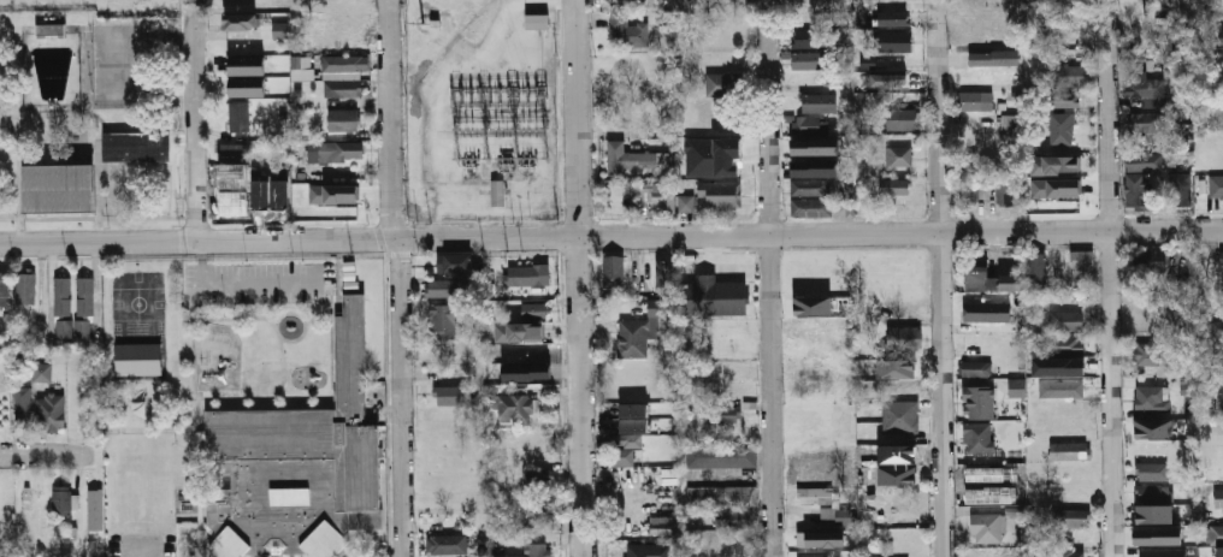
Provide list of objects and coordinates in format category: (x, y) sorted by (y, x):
road: (757, 4)
building: (892, 17)
building: (241, 20)
building: (538, 23)
building: (51, 29)
building: (628, 30)
building: (1221, 35)
building: (805, 38)
building: (893, 41)
building: (980, 59)
building: (805, 60)
building: (246, 65)
building: (1070, 75)
building: (343, 77)
building: (898, 81)
building: (725, 84)
building: (1142, 85)
building: (246, 87)
building: (1064, 99)
building: (974, 100)
building: (817, 102)
power substation: (479, 108)
building: (238, 117)
building: (899, 119)
road: (196, 120)
building: (343, 120)
building: (804, 122)
building: (1146, 125)
building: (1060, 129)
building: (136, 144)
building: (728, 146)
building: (814, 146)
building: (333, 150)
building: (234, 152)
building: (897, 155)
building: (631, 158)
building: (1142, 160)
building: (1053, 165)
building: (814, 167)
building: (893, 185)
building: (809, 186)
building: (1216, 186)
building: (60, 188)
building: (1054, 188)
building: (1180, 189)
building: (969, 190)
building: (1138, 190)
building: (1008, 191)
building: (333, 194)
building: (644, 194)
building: (720, 194)
building: (662, 196)
building: (685, 203)
road: (610, 238)
building: (1221, 257)
building: (1148, 260)
building: (453, 262)
building: (1080, 266)
building: (1035, 267)
building: (613, 271)
building: (526, 274)
building: (664, 274)
road: (400, 277)
road: (581, 278)
road: (943, 278)
building: (977, 278)
road: (1113, 278)
parking lot: (259, 282)
road: (772, 282)
building: (1010, 282)
road: (238, 283)
road: (95, 285)
building: (4, 286)
building: (25, 288)
road: (49, 288)
building: (444, 288)
building: (61, 296)
building: (84, 296)
building: (713, 296)
park: (138, 302)
building: (811, 306)
building: (986, 312)
building: (1065, 320)
building: (443, 321)
building: (522, 325)
building: (72, 327)
building: (1216, 327)
building: (639, 330)
building: (903, 337)
building: (1064, 344)
building: (1145, 352)
building: (137, 359)
building: (1222, 360)
building: (976, 368)
building: (41, 372)
building: (1016, 387)
building: (1059, 389)
building: (453, 395)
building: (1150, 398)
building: (979, 402)
building: (20, 403)
building: (513, 403)
building: (51, 411)
building: (721, 414)
building: (899, 416)
building: (633, 417)
building: (1152, 428)
building: (977, 437)
building: (624, 448)
building: (1069, 450)
building: (722, 452)
road: (43, 456)
building: (302, 464)
building: (1152, 470)
building: (537, 479)
building: (1153, 492)
building: (722, 496)
building: (1218, 497)
building: (64, 499)
building: (825, 504)
building: (94, 509)
building: (538, 511)
building: (1153, 514)
building: (1069, 517)
building: (733, 519)
building: (987, 527)
building: (1213, 534)
building: (1157, 535)
building: (820, 539)
building: (445, 544)
parking lot: (141, 545)
road: (142, 547)
building: (537, 550)
building: (1219, 551)
building: (1067, 552)
building: (813, 555)

